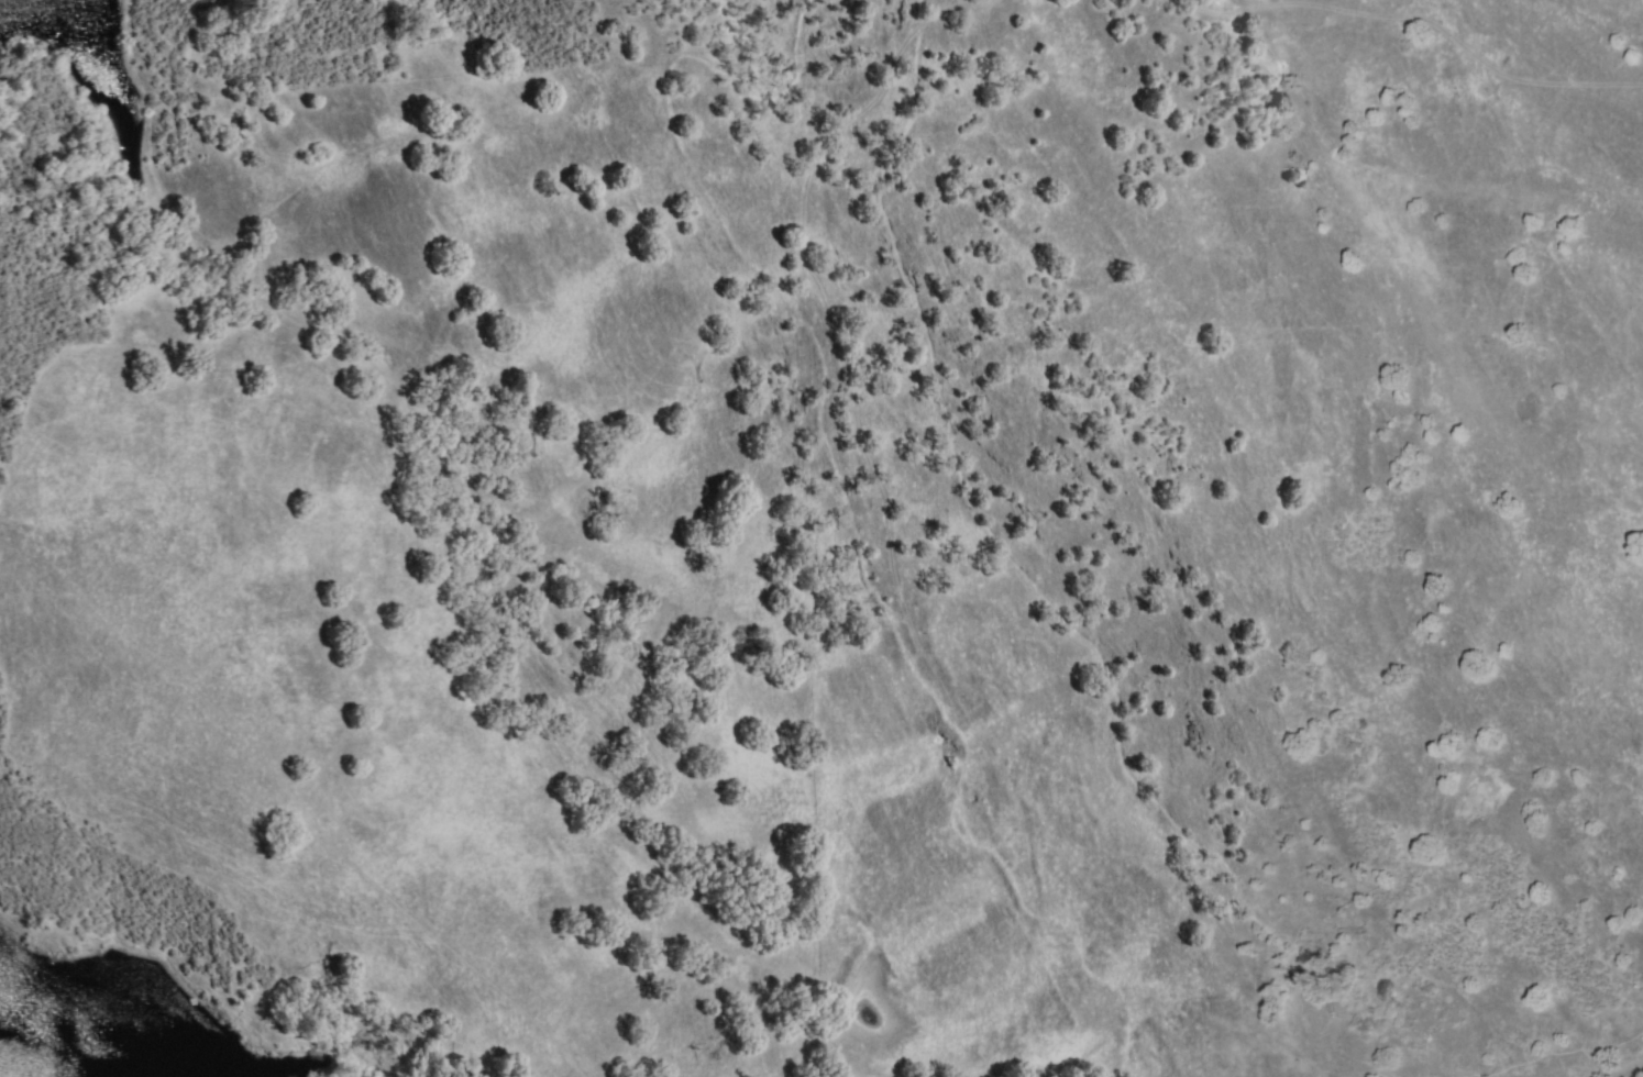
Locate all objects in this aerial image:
road: (1425, 14)

